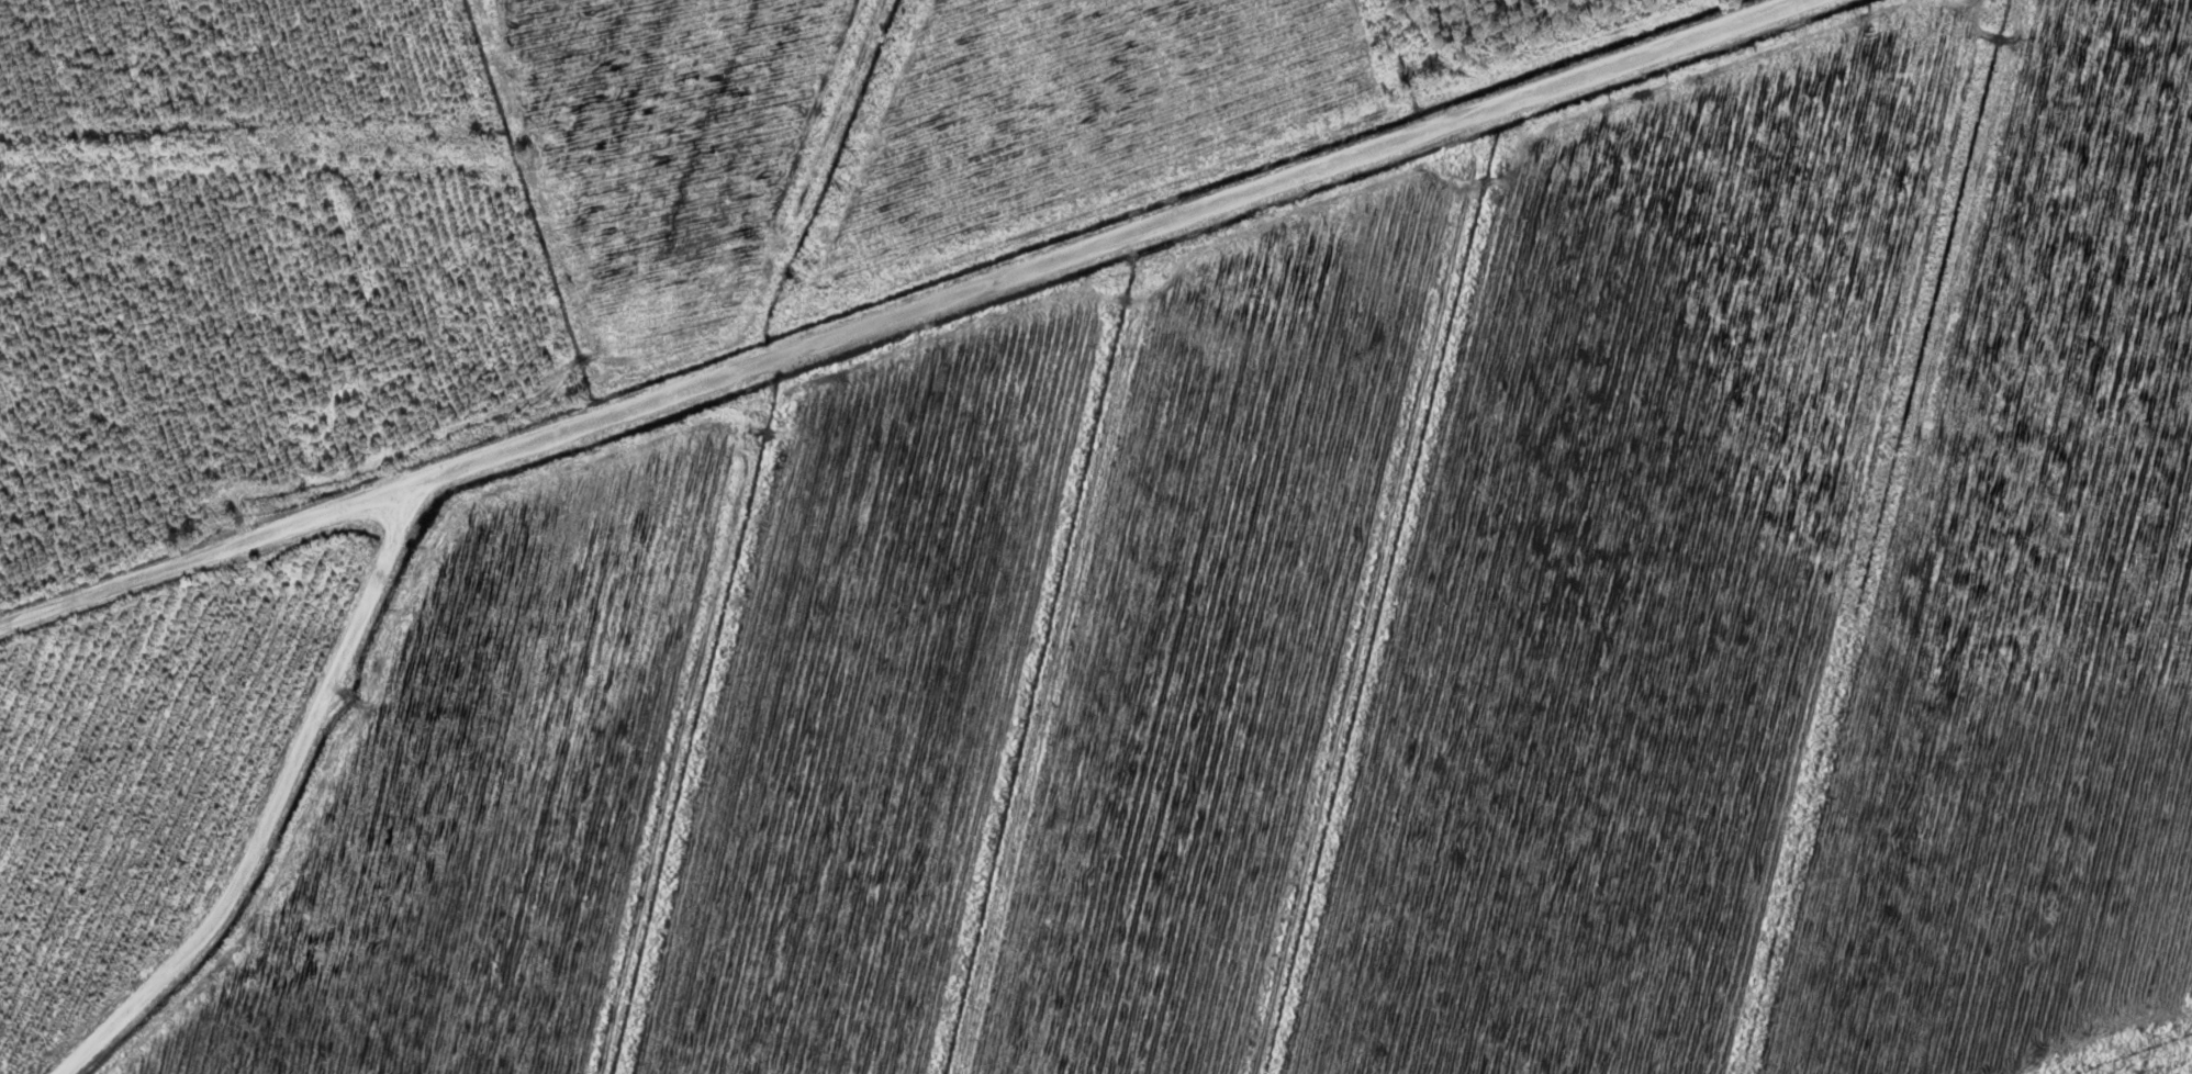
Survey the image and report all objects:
road: (779, 354)
road: (189, 573)

